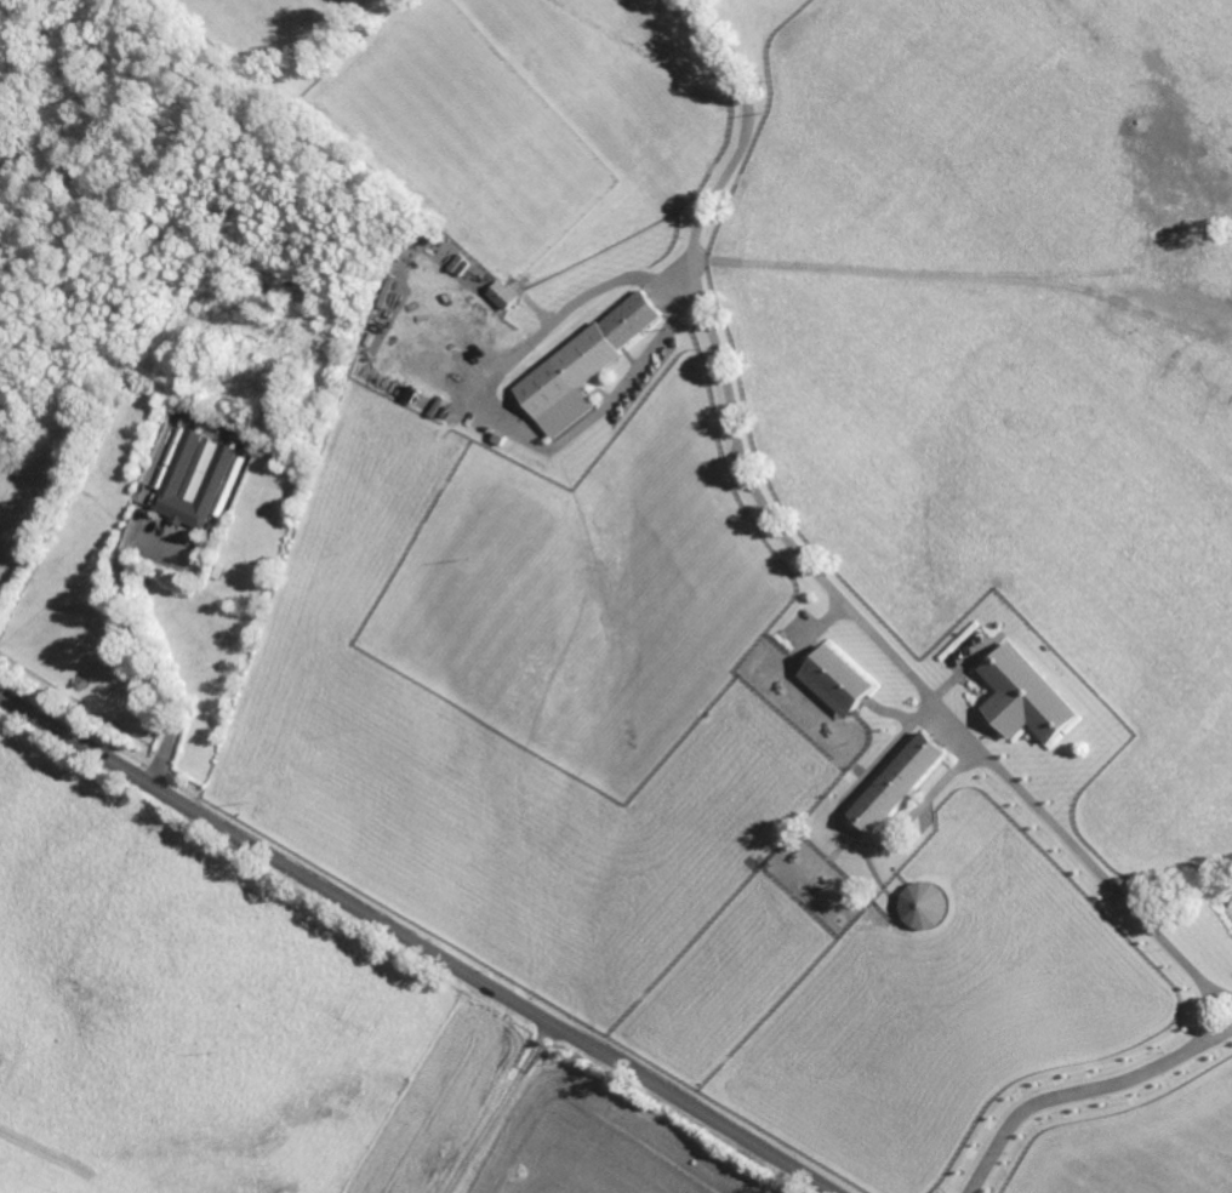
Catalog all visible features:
building: (503, 295)
road: (529, 343)
road: (639, 363)
building: (582, 365)
building: (194, 478)
road: (806, 559)
road: (149, 641)
building: (839, 680)
building: (1026, 696)
building: (899, 782)
building: (924, 904)
road: (416, 944)
road: (1082, 1089)
road: (498, 1108)

